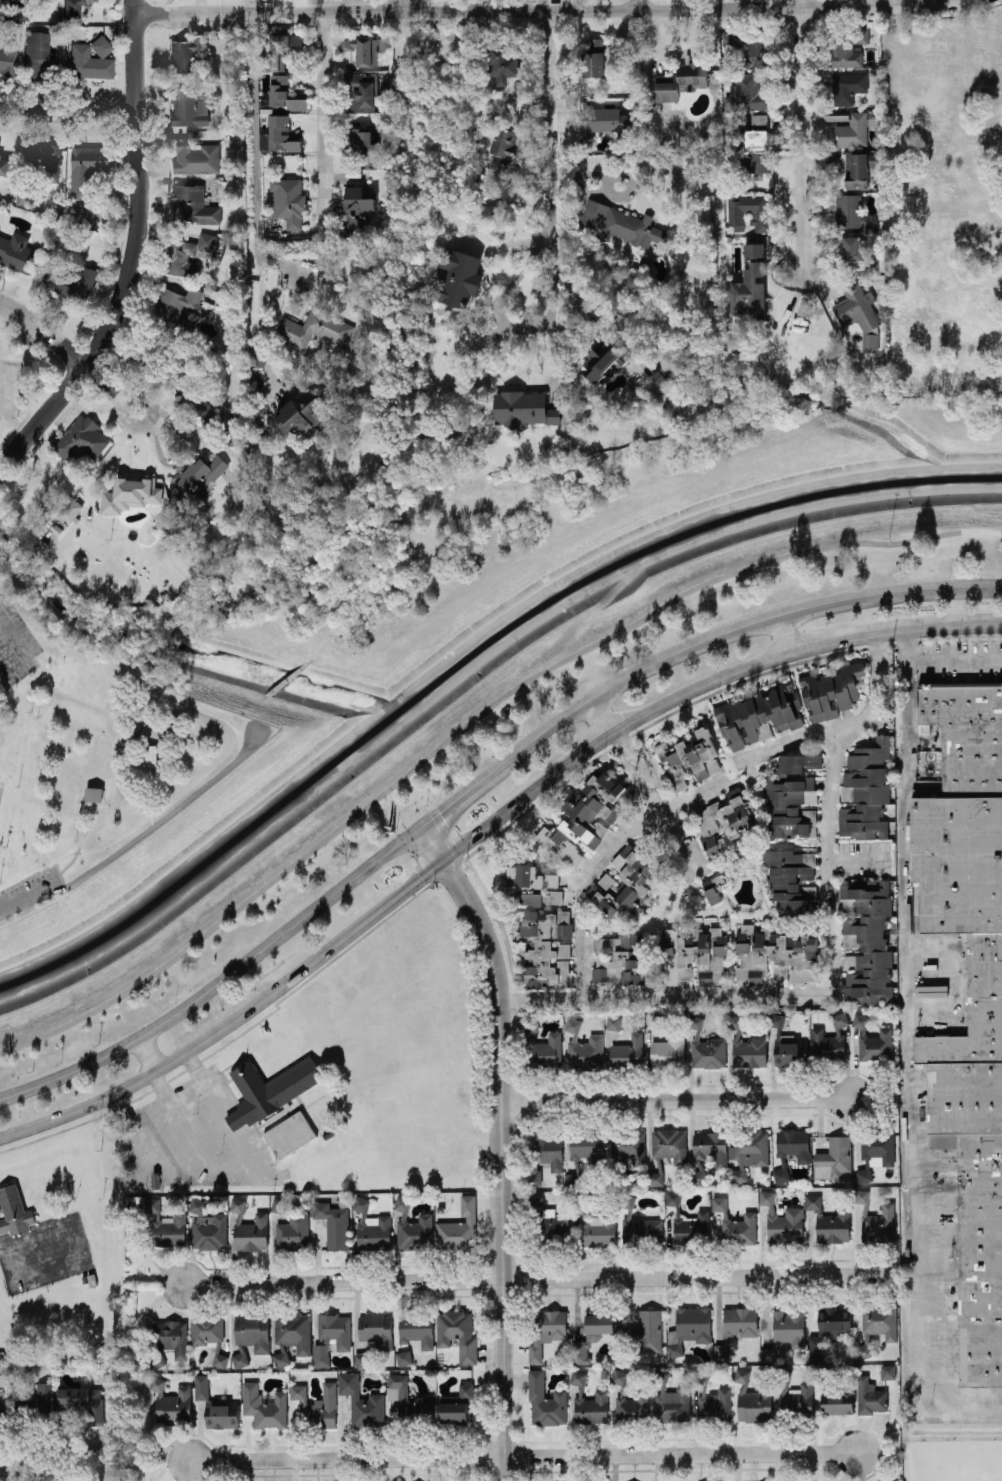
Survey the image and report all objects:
road: (902, 2)
road: (636, 4)
road: (928, 4)
road: (398, 5)
building: (73, 9)
road: (517, 9)
building: (101, 46)
building: (750, 46)
building: (282, 48)
building: (363, 48)
building: (186, 53)
building: (36, 55)
building: (592, 57)
building: (8, 63)
building: (88, 64)
building: (503, 65)
building: (682, 81)
building: (847, 87)
building: (360, 91)
building: (748, 92)
building: (284, 93)
park: (437, 100)
building: (189, 106)
road: (67, 114)
building: (759, 119)
road: (322, 120)
building: (604, 121)
road: (973, 121)
road: (545, 123)
building: (852, 130)
building: (280, 133)
road: (798, 133)
building: (756, 139)
building: (503, 143)
building: (363, 146)
building: (194, 156)
road: (987, 156)
building: (47, 158)
building: (756, 162)
building: (5, 165)
building: (86, 168)
building: (858, 169)
building: (24, 196)
road: (256, 196)
road: (619, 197)
building: (288, 200)
building: (192, 205)
building: (358, 205)
building: (848, 210)
building: (749, 212)
building: (870, 222)
building: (620, 223)
road: (903, 238)
road: (500, 247)
building: (852, 247)
building: (754, 249)
building: (16, 251)
road: (131, 252)
building: (187, 254)
building: (458, 277)
building: (69, 280)
building: (749, 292)
building: (177, 304)
building: (859, 314)
road: (596, 320)
building: (314, 328)
road: (516, 328)
road: (43, 330)
building: (603, 361)
road: (104, 381)
road: (518, 387)
road: (125, 398)
building: (195, 399)
building: (523, 408)
building: (303, 415)
building: (81, 440)
building: (197, 477)
building: (129, 494)
building: (71, 509)
road: (981, 530)
river: (677, 541)
road: (782, 635)
road: (17, 648)
road: (954, 661)
park: (473, 664)
building: (830, 691)
road: (601, 716)
building: (759, 716)
road: (453, 734)
building: (150, 755)
building: (689, 758)
building: (798, 762)
road: (645, 768)
park: (123, 778)
road: (476, 783)
building: (865, 791)
road: (706, 792)
building: (93, 793)
road: (149, 797)
building: (790, 806)
road: (162, 816)
building: (585, 816)
road: (90, 819)
building: (726, 820)
traffic signals: (420, 829)
road: (482, 832)
road: (857, 858)
traffic signals: (445, 860)
river: (204, 868)
building: (790, 879)
building: (623, 884)
building: (533, 885)
building: (713, 887)
parking lot: (29, 891)
road: (28, 897)
building: (867, 940)
building: (545, 947)
building: (695, 955)
building: (774, 956)
building: (619, 959)
road: (960, 978)
building: (968, 992)
road: (802, 998)
building: (777, 1019)
building: (859, 1020)
building: (613, 1022)
building: (829, 1040)
building: (875, 1044)
building: (541, 1046)
building: (747, 1046)
building: (705, 1047)
building: (583, 1048)
building: (628, 1051)
road: (904, 1051)
building: (668, 1052)
building: (791, 1052)
road: (145, 1054)
building: (270, 1087)
road: (187, 1090)
road: (677, 1100)
building: (233, 1119)
building: (288, 1135)
road: (504, 1143)
building: (670, 1144)
building: (793, 1144)
building: (585, 1145)
building: (628, 1146)
building: (711, 1146)
building: (748, 1151)
building: (875, 1153)
building: (833, 1158)
building: (697, 1175)
building: (655, 1178)
building: (155, 1179)
building: (573, 1179)
building: (535, 1202)
building: (237, 1204)
building: (439, 1208)
building: (14, 1211)
building: (875, 1220)
building: (687, 1221)
building: (782, 1221)
building: (829, 1221)
building: (333, 1223)
building: (638, 1223)
building: (735, 1223)
building: (165, 1225)
building: (412, 1226)
building: (458, 1226)
building: (207, 1227)
building: (371, 1227)
building: (554, 1227)
building: (292, 1231)
building: (597, 1231)
building: (251, 1232)
road: (0, 1250)
road: (79, 1252)
parking lot: (42, 1256)
road: (537, 1278)
building: (90, 1280)
building: (833, 1321)
building: (736, 1326)
building: (876, 1327)
building: (416, 1328)
building: (688, 1328)
building: (376, 1329)
building: (546, 1330)
building: (252, 1331)
building: (293, 1331)
building: (648, 1331)
building: (785, 1332)
building: (457, 1333)
building: (208, 1334)
building: (591, 1335)
building: (331, 1336)
building: (171, 1337)
building: (813, 1348)
building: (239, 1357)
building: (403, 1357)
building: (280, 1358)
building: (362, 1359)
building: (669, 1361)
building: (686, 1361)
building: (0, 1369)
building: (618, 1376)
building: (577, 1377)
building: (22, 1378)
building: (298, 1391)
building: (869, 1396)
building: (796, 1397)
building: (407, 1399)
building: (671, 1399)
building: (752, 1399)
building: (712, 1400)
building: (361, 1401)
building: (545, 1401)
building: (171, 1403)
building: (837, 1403)
building: (78, 1404)
building: (455, 1405)
building: (215, 1406)
building: (264, 1406)
building: (591, 1407)
building: (37, 1408)
building: (320, 1408)
road: (43, 1450)
road: (526, 1455)
road: (19, 1463)

